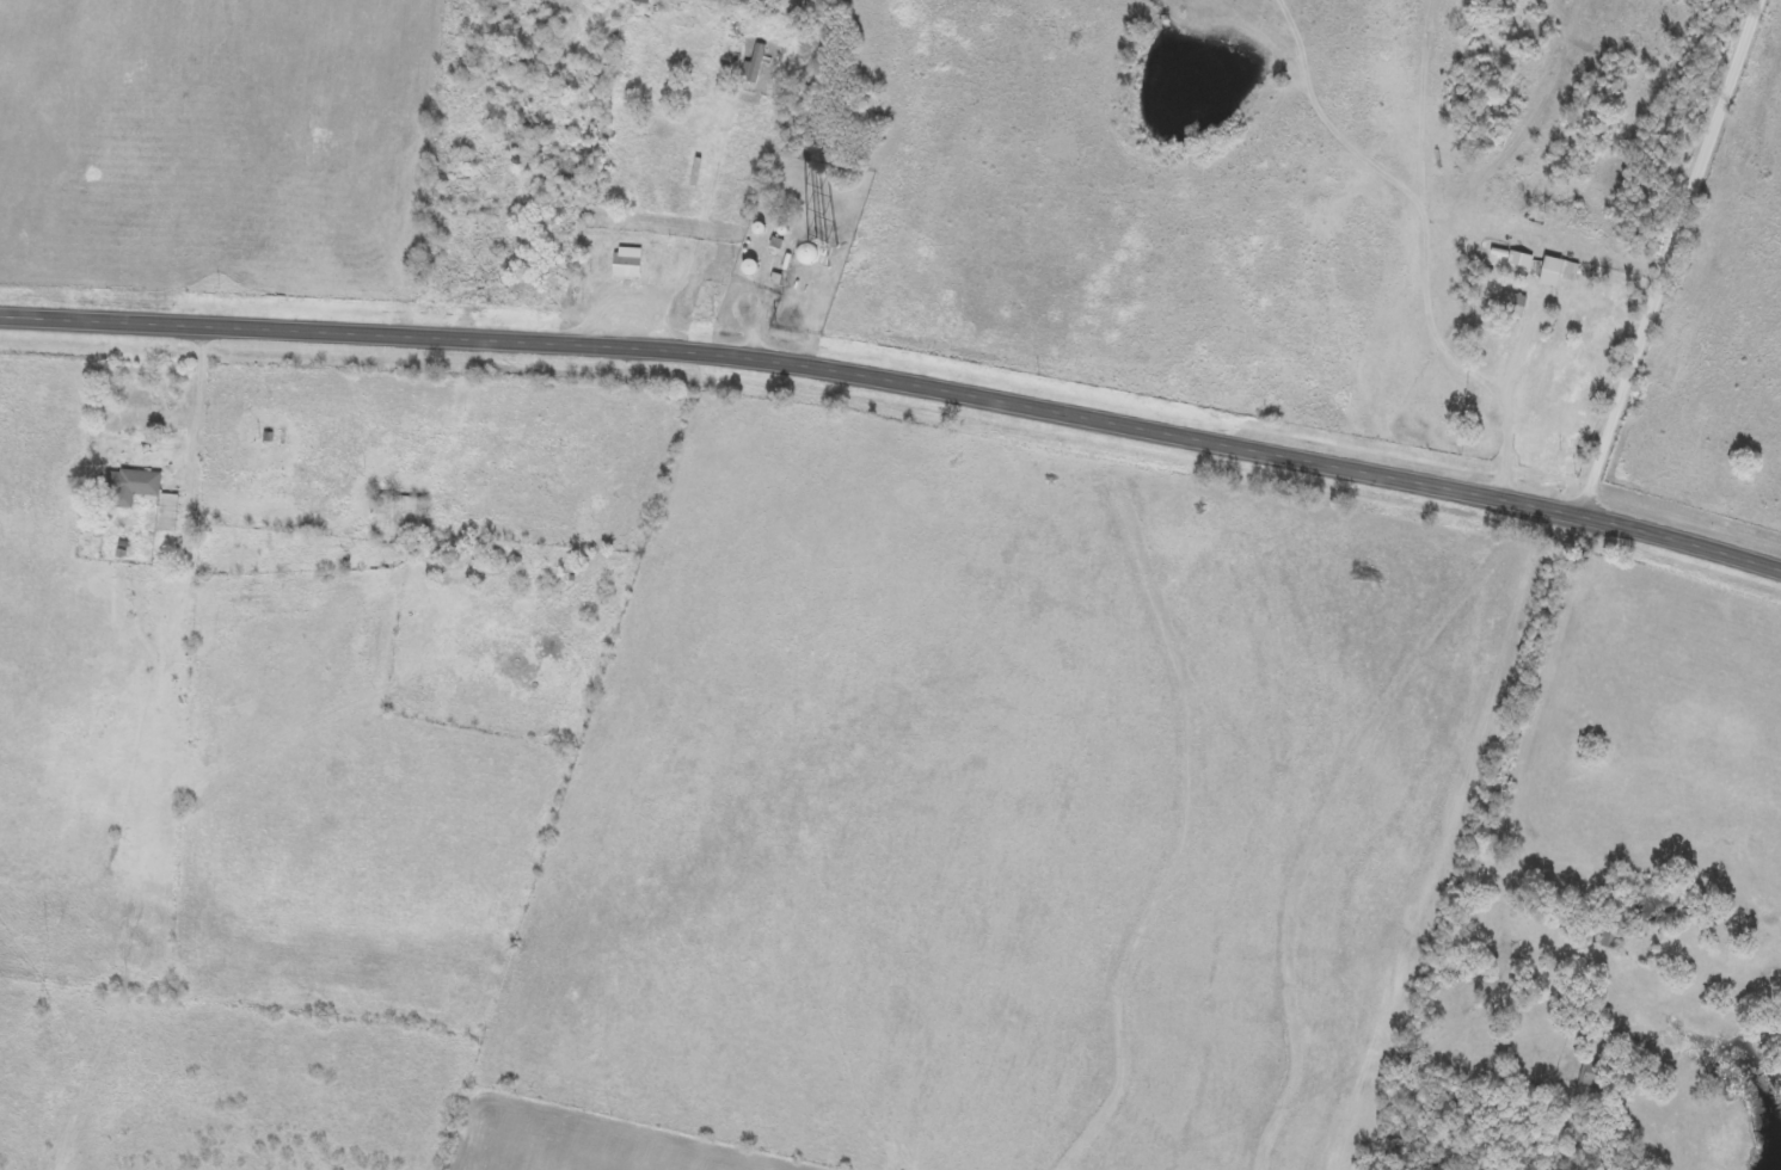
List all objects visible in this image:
building: (754, 67)
building: (1521, 261)
building: (628, 264)
building: (1556, 272)
building: (1513, 306)
road: (898, 386)
building: (143, 495)
road: (1584, 512)

